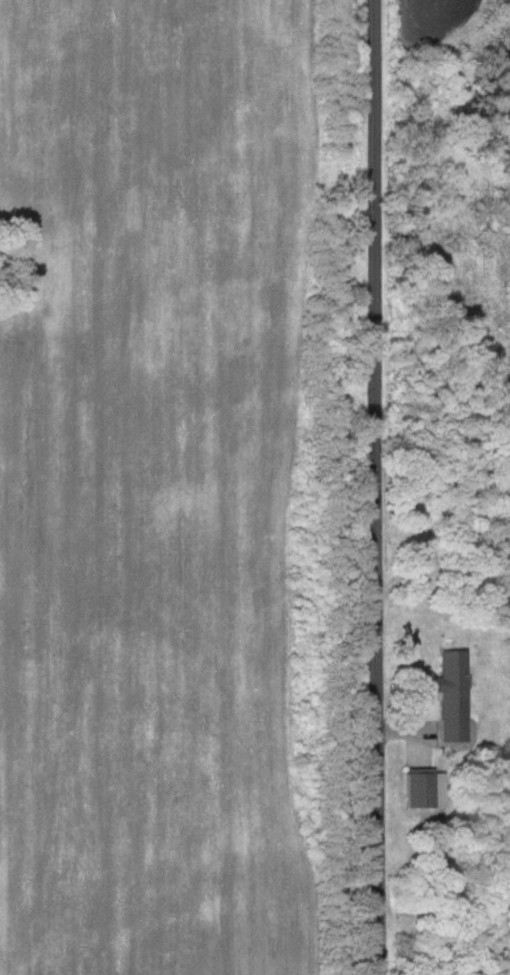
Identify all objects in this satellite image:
road: (377, 487)
building: (451, 696)
building: (419, 788)

